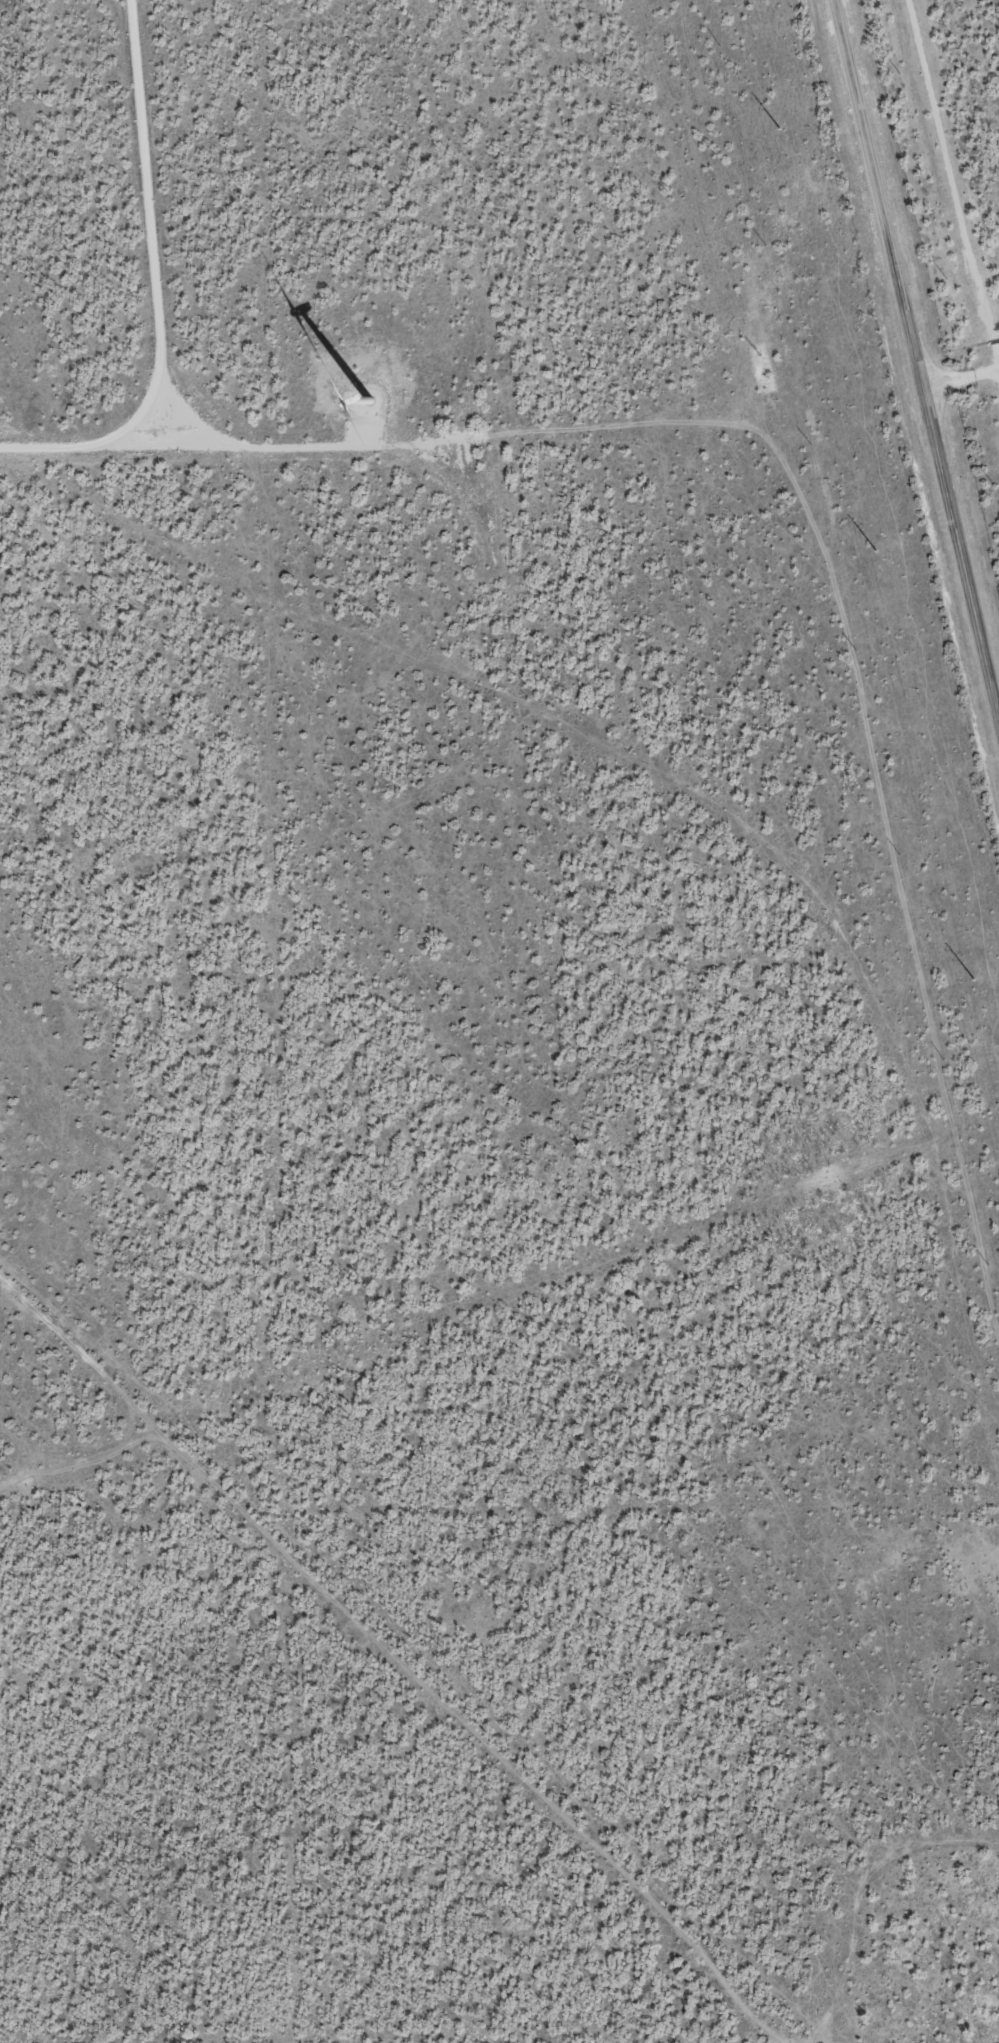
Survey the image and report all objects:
power tower: (776, 129)
road: (907, 385)
wind turbine: (364, 395)
power tower: (874, 551)
road: (667, 792)
power tower: (970, 980)
road: (381, 1679)
road: (966, 1690)
road: (867, 1914)

